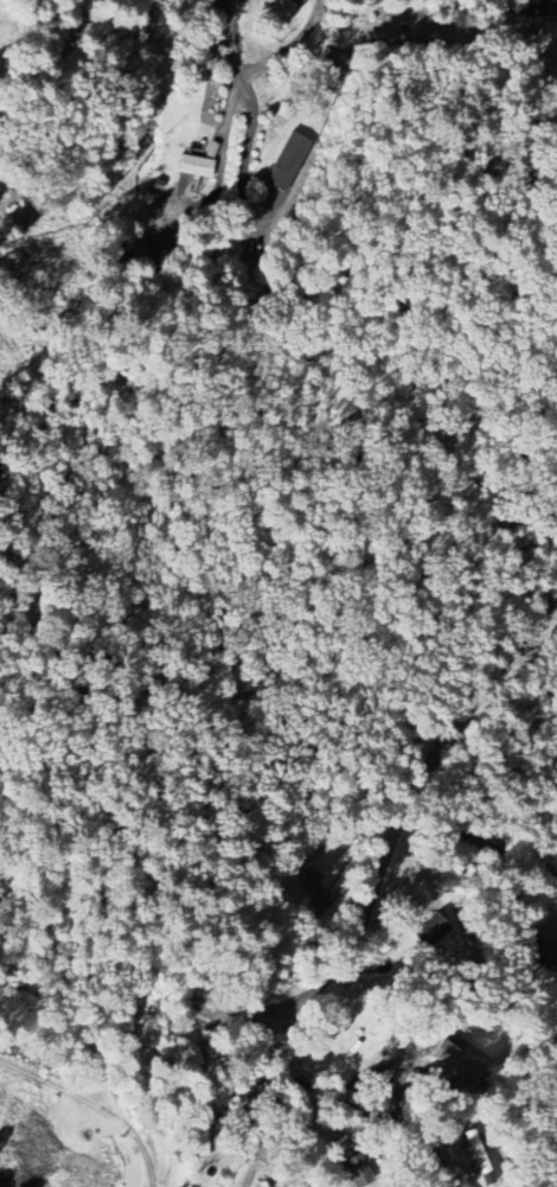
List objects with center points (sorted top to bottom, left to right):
building: (299, 0)
road: (288, 46)
road: (237, 76)
road: (52, 110)
building: (286, 162)
building: (193, 166)
road: (239, 174)
road: (488, 813)
road: (374, 886)
building: (314, 887)
building: (546, 956)
building: (456, 1061)
road: (366, 1121)
building: (478, 1159)

